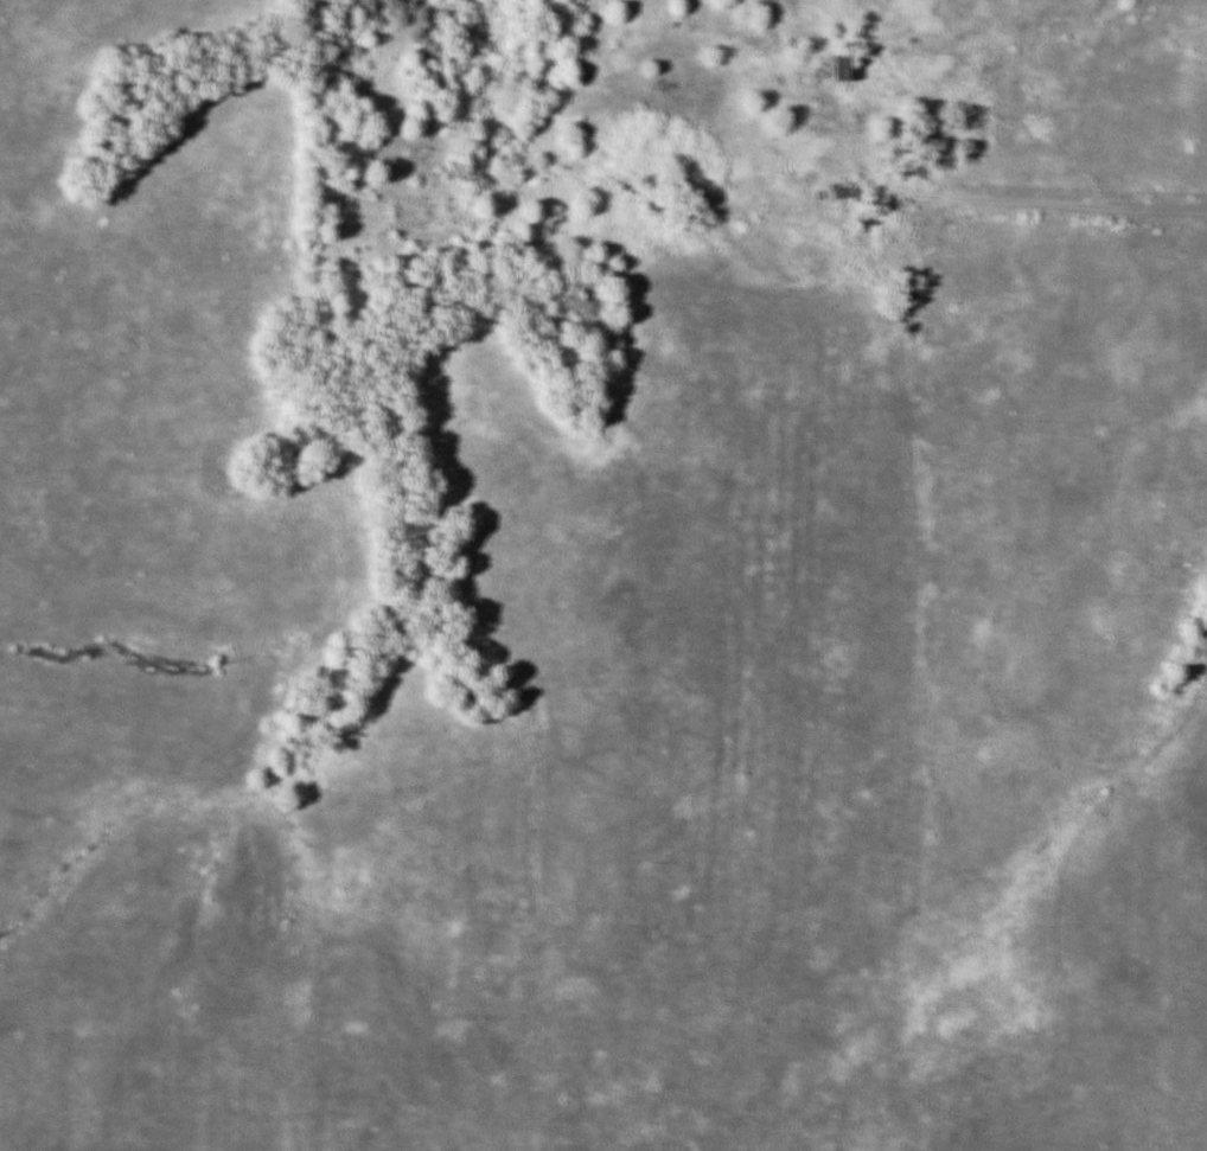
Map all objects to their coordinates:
building: (842, 65)

